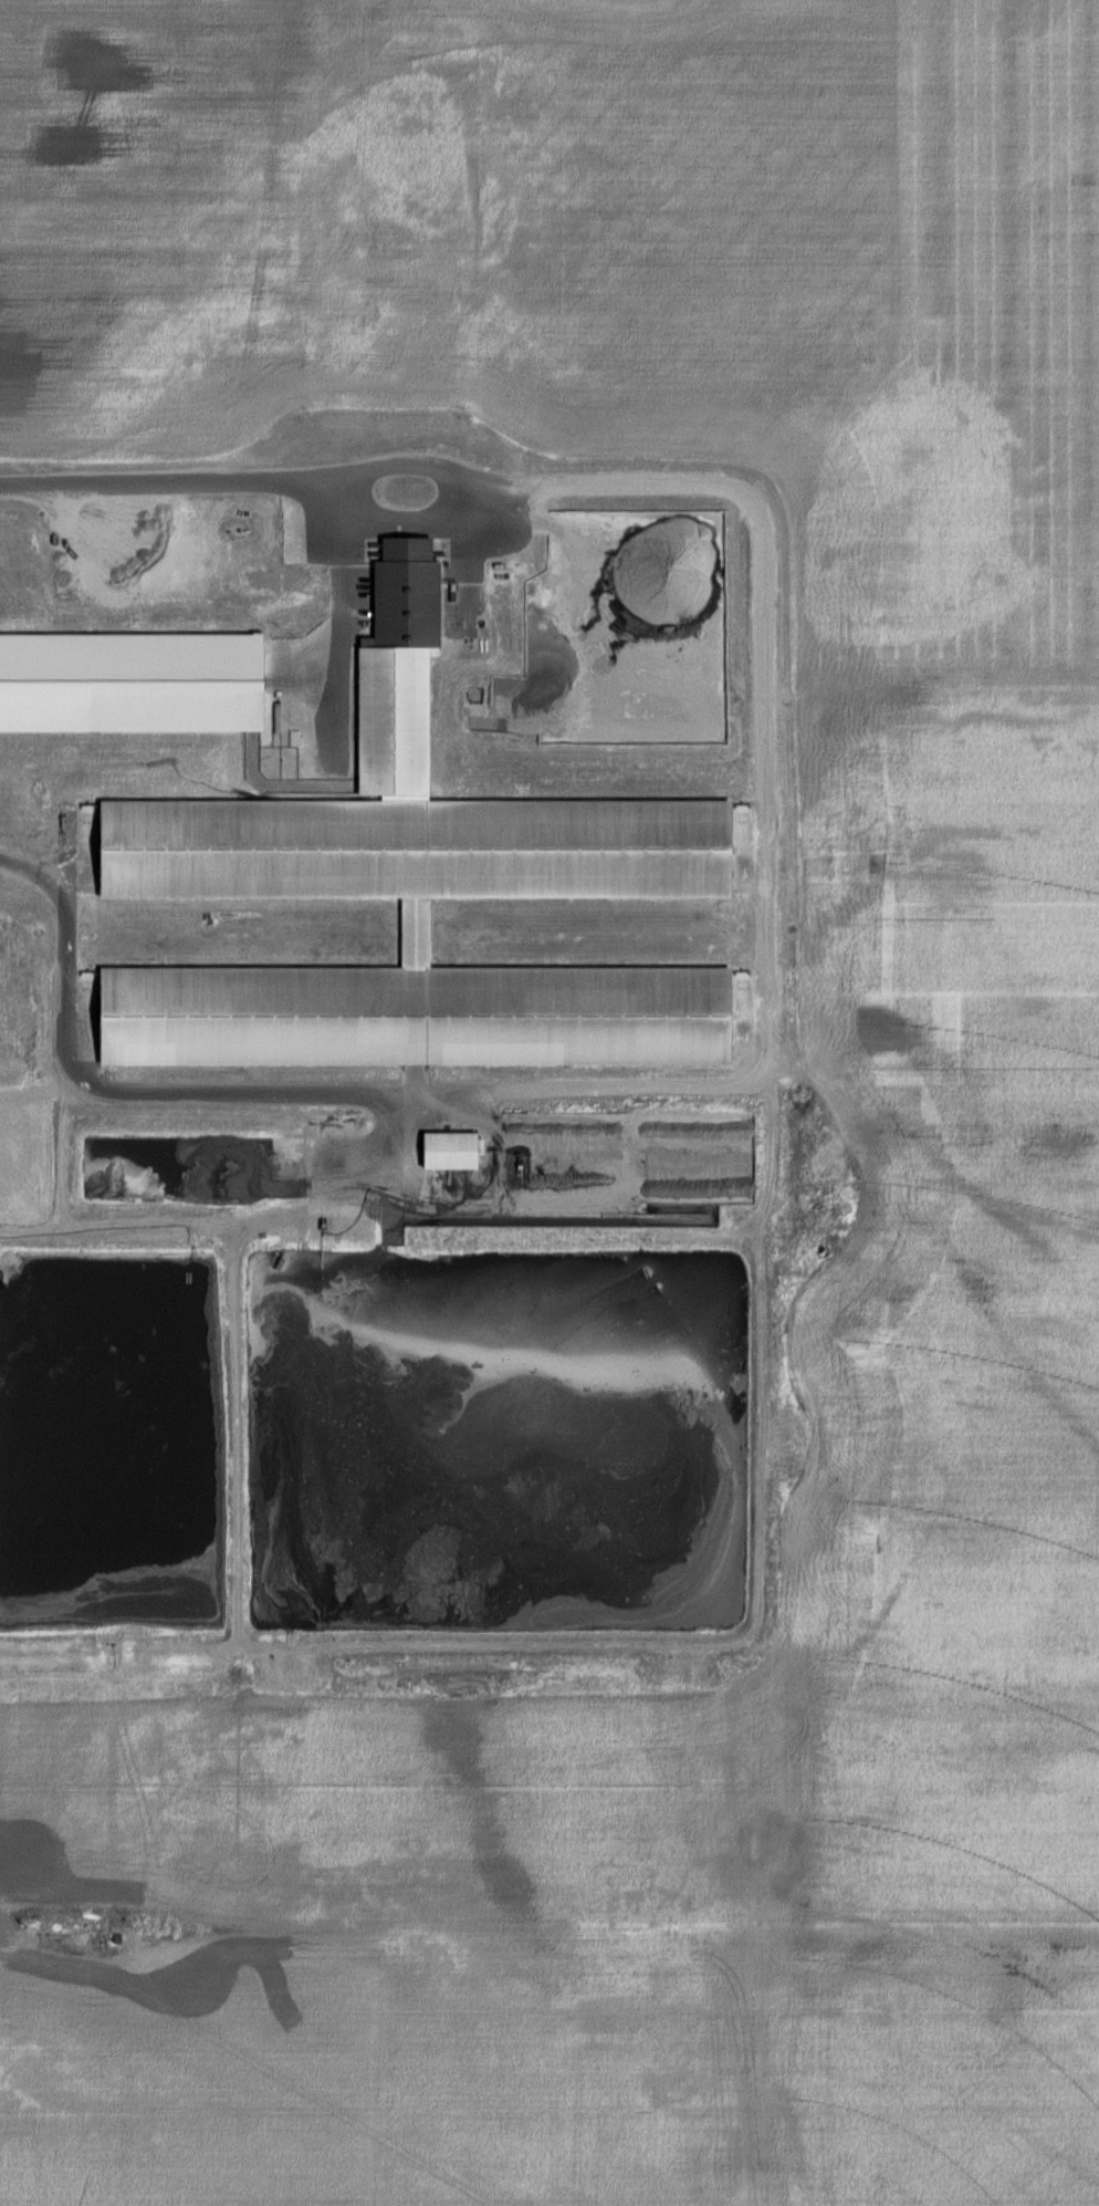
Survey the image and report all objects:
building: (409, 899)
building: (448, 1149)

